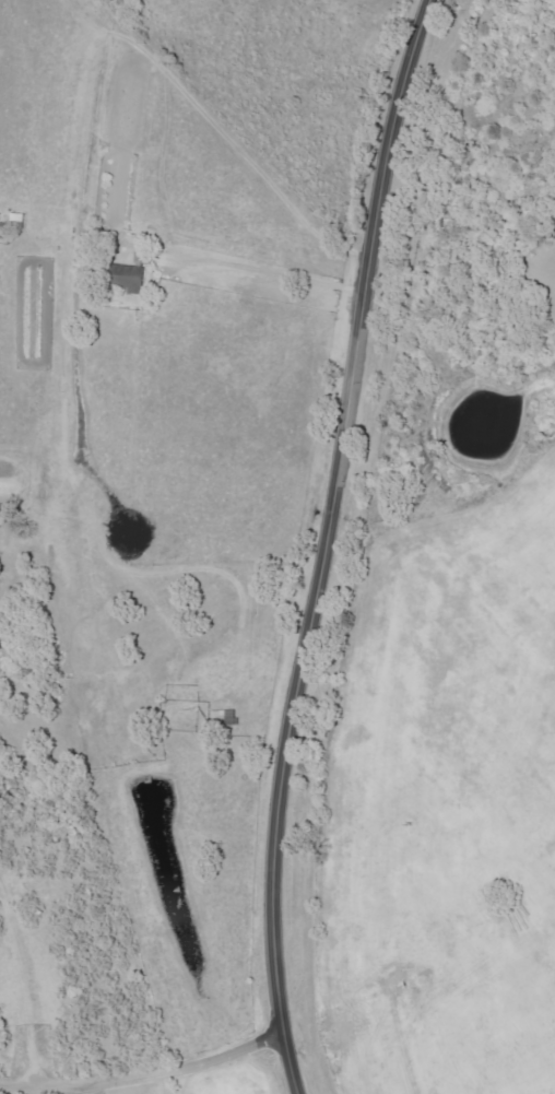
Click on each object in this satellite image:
road: (275, 274)
building: (132, 275)
road: (324, 544)
road: (145, 1081)
road: (162, 1086)

